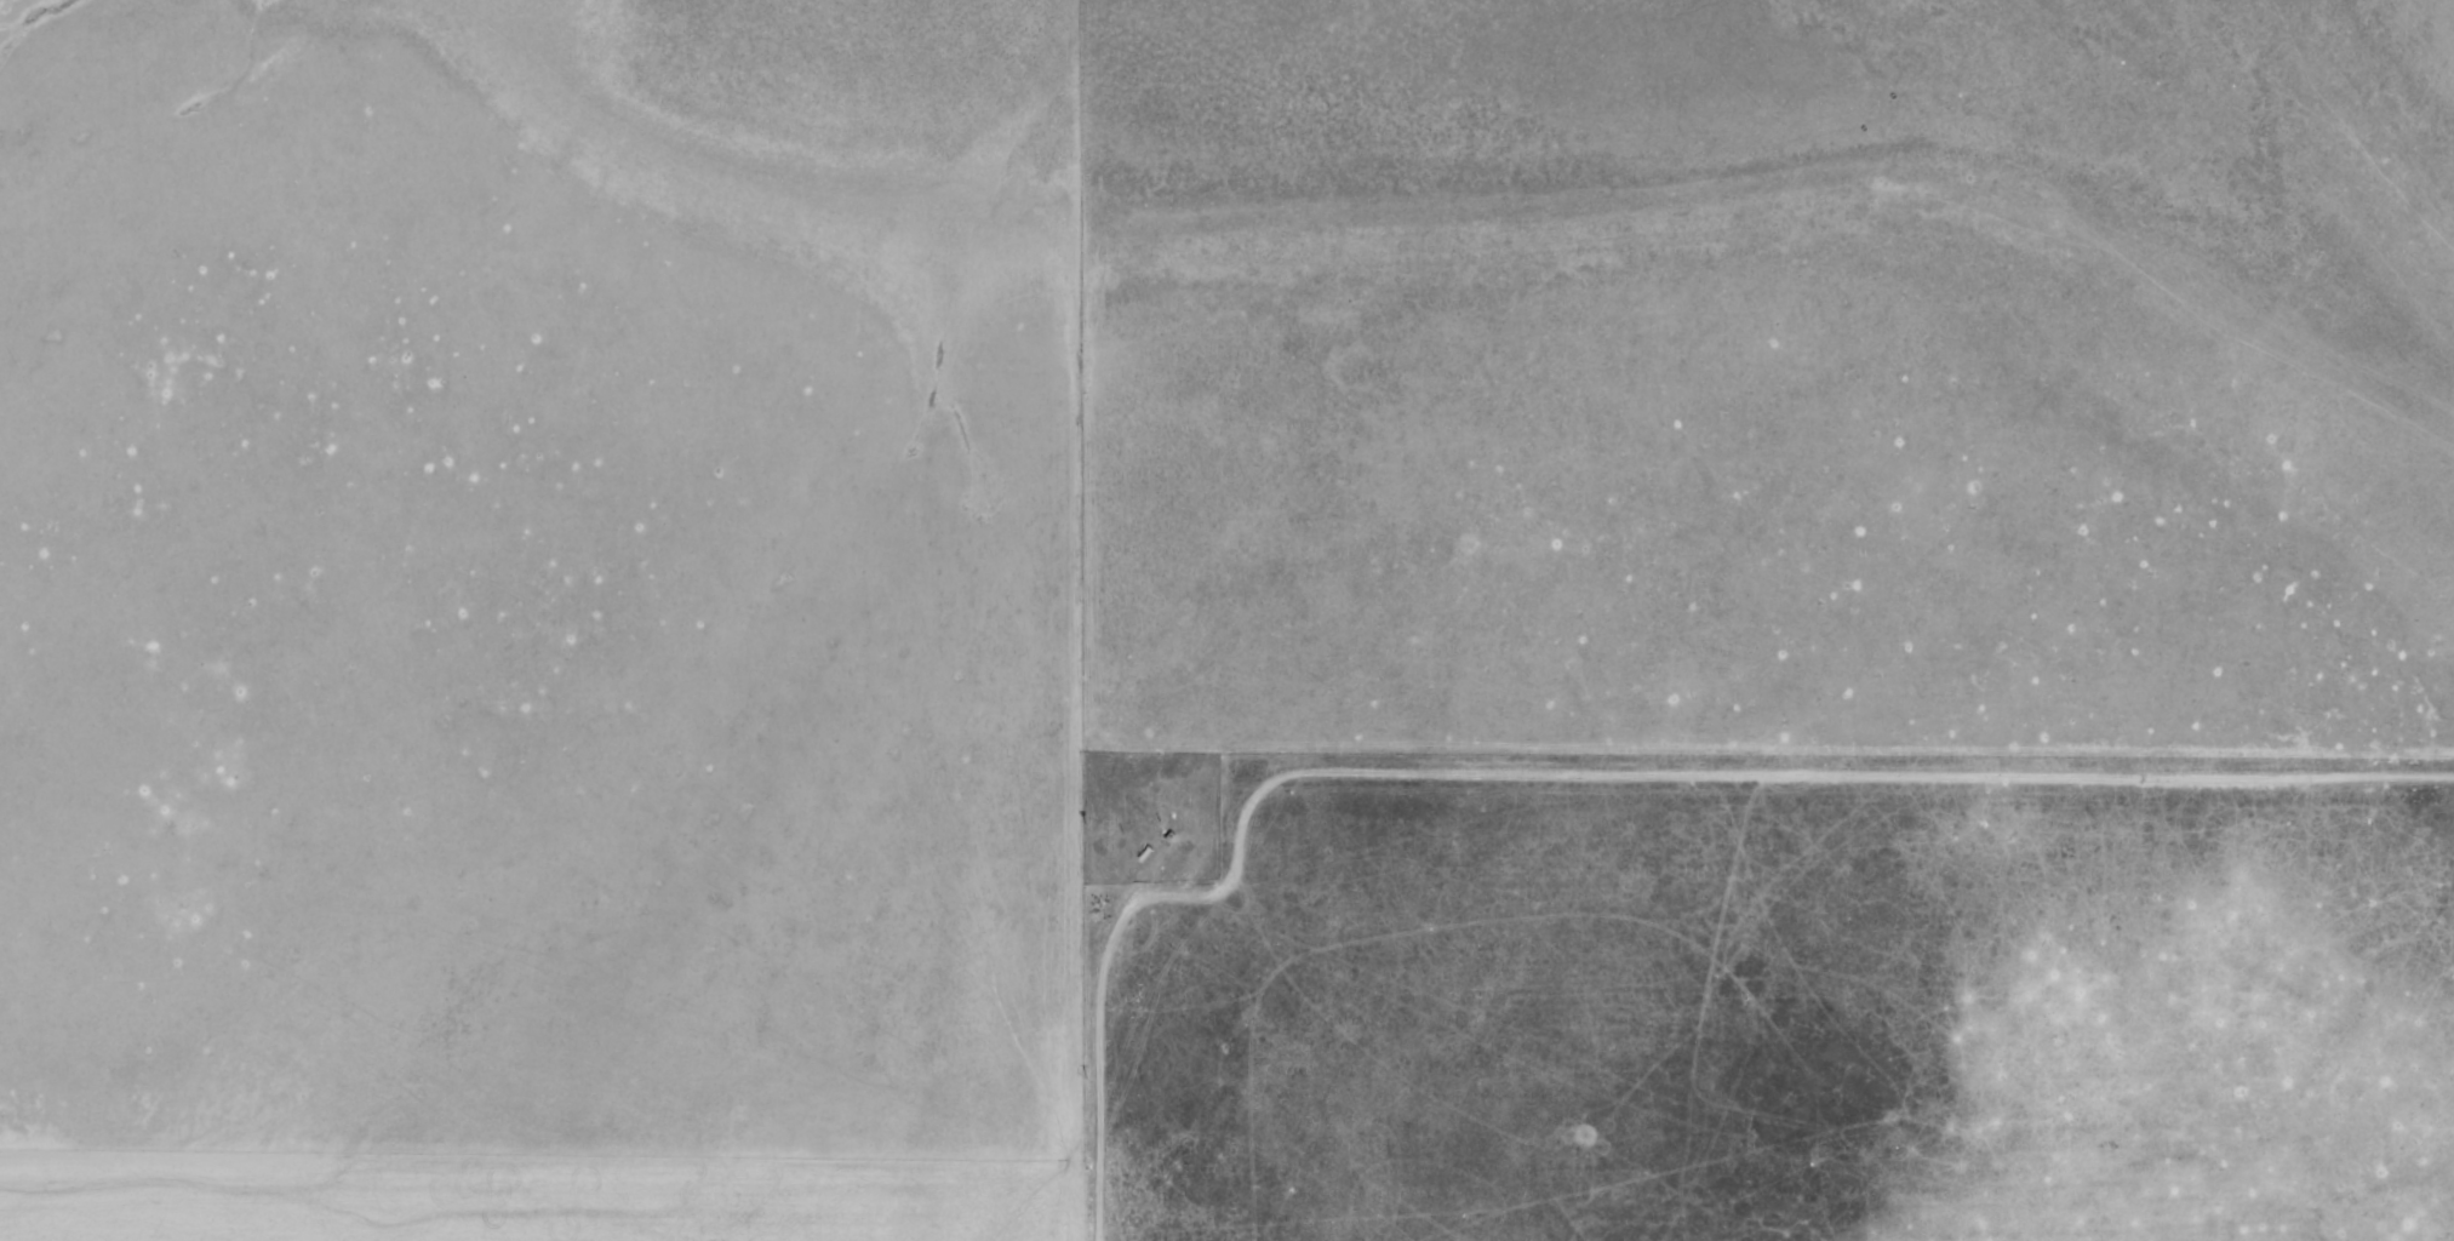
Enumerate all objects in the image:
road: (1740, 748)
road: (1848, 979)

